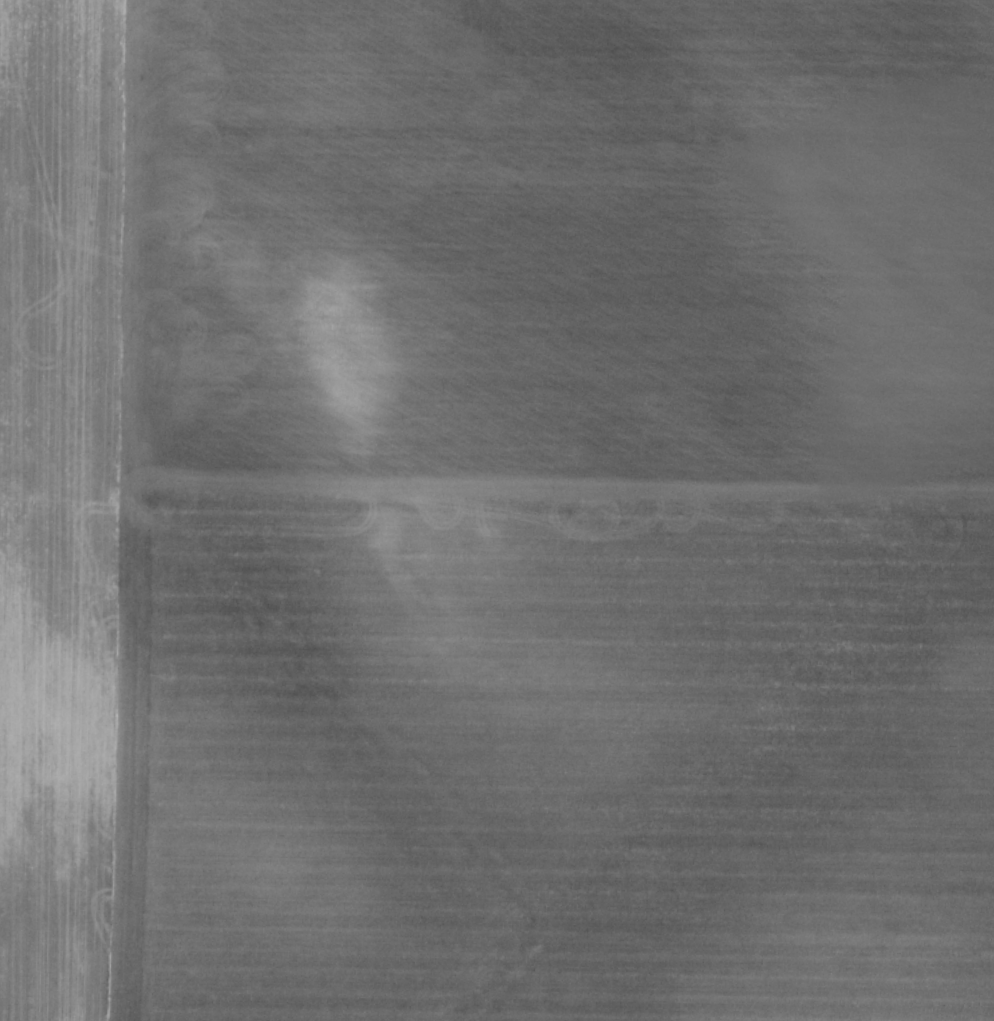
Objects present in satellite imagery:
crop: (497, 510)

